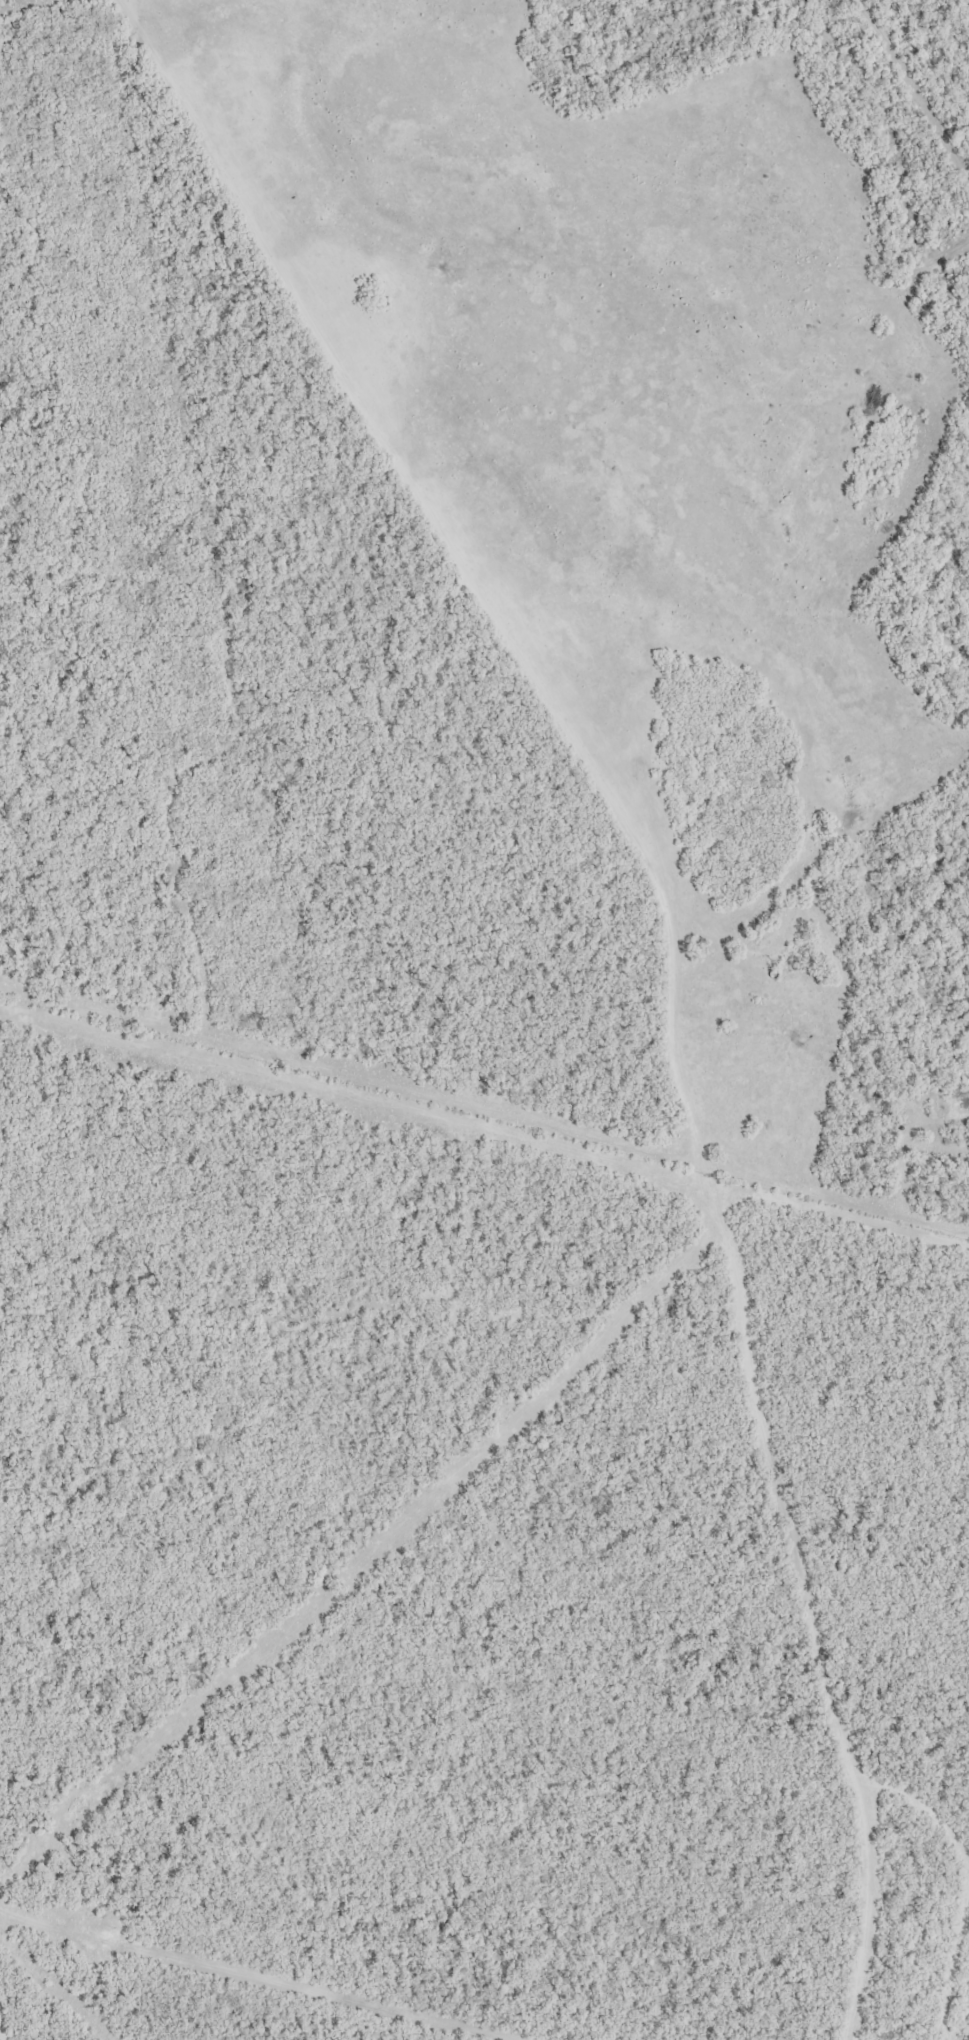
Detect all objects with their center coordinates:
road: (416, 507)
road: (742, 1333)
road: (305, 1961)

